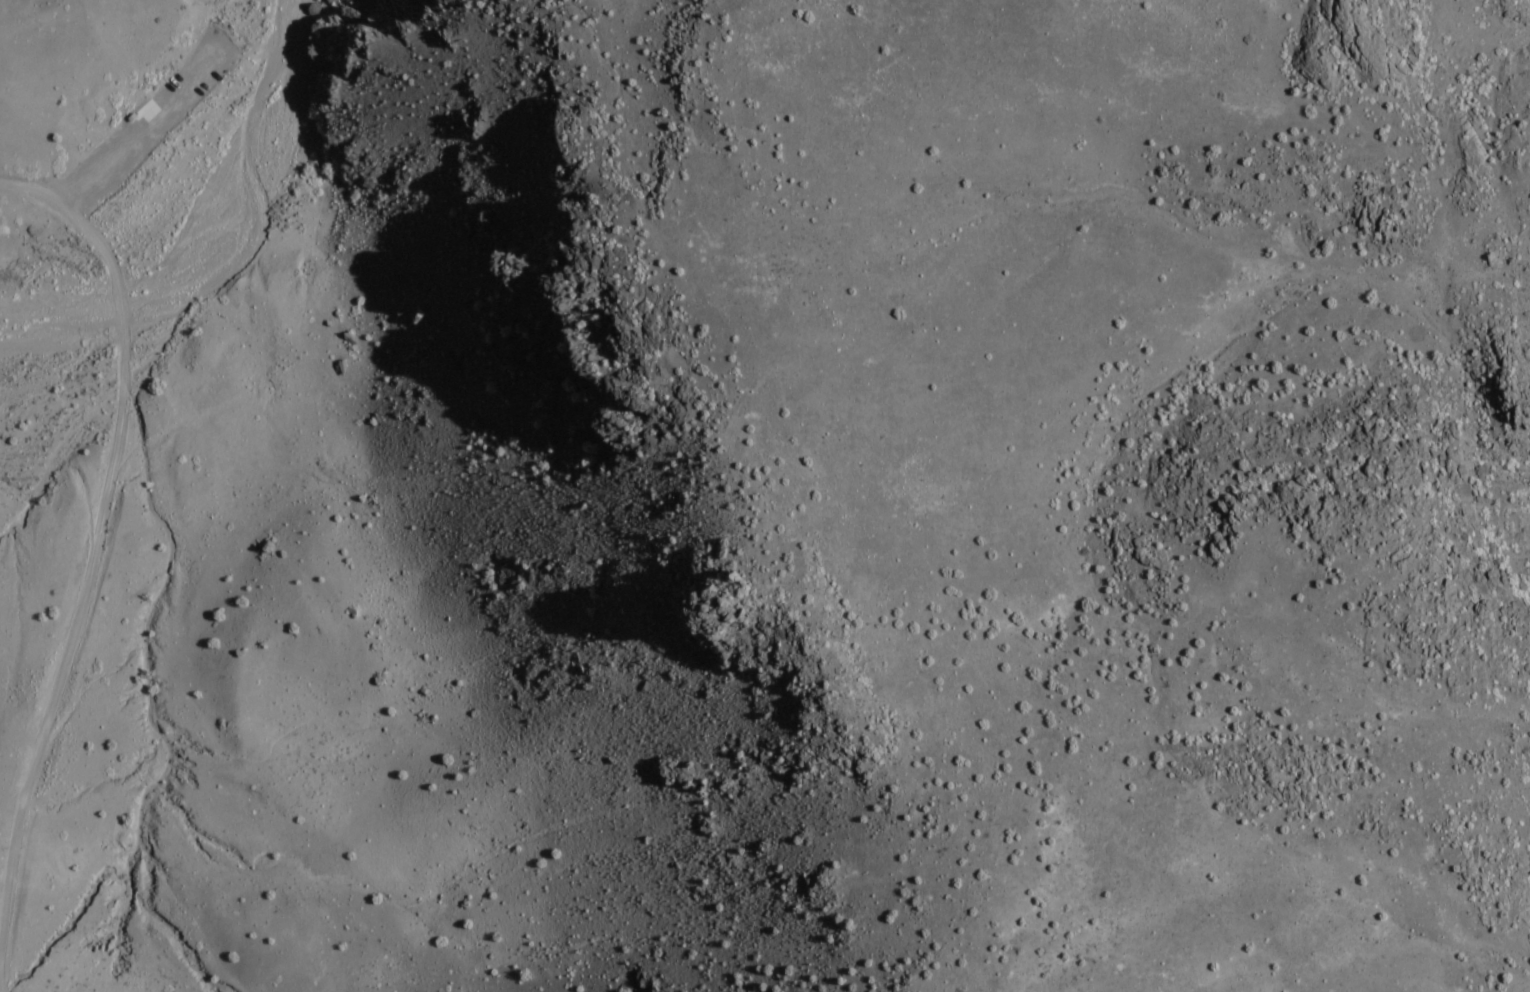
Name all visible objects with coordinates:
parking lot: (159, 121)
road: (158, 125)
road: (36, 192)
road: (94, 591)

